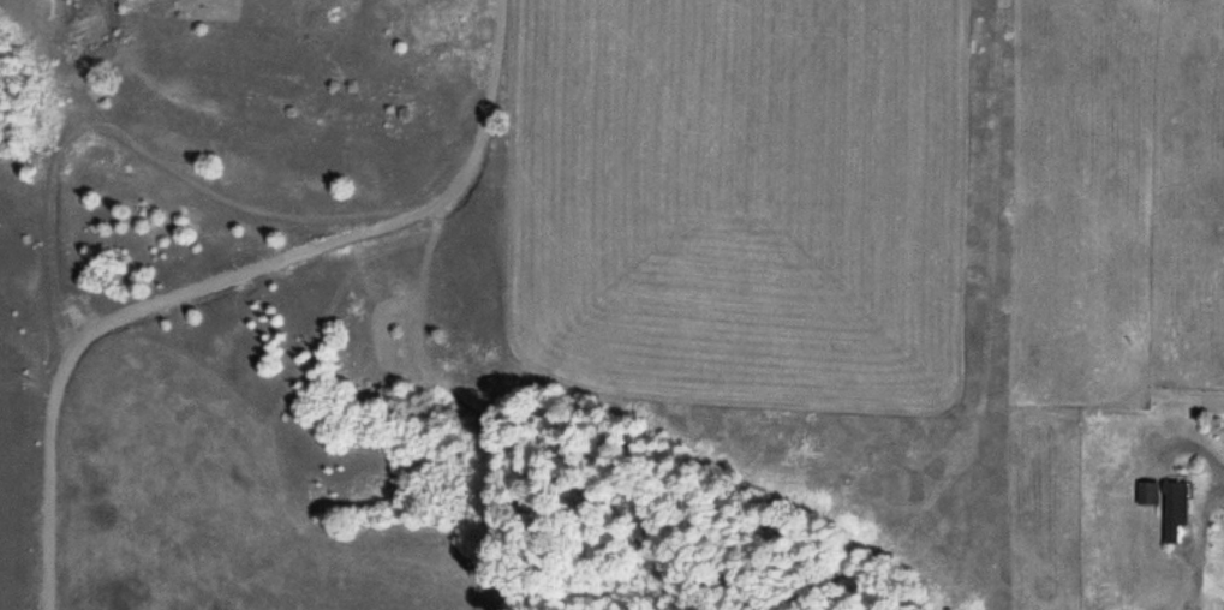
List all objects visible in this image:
building: (1146, 489)
building: (1172, 509)

